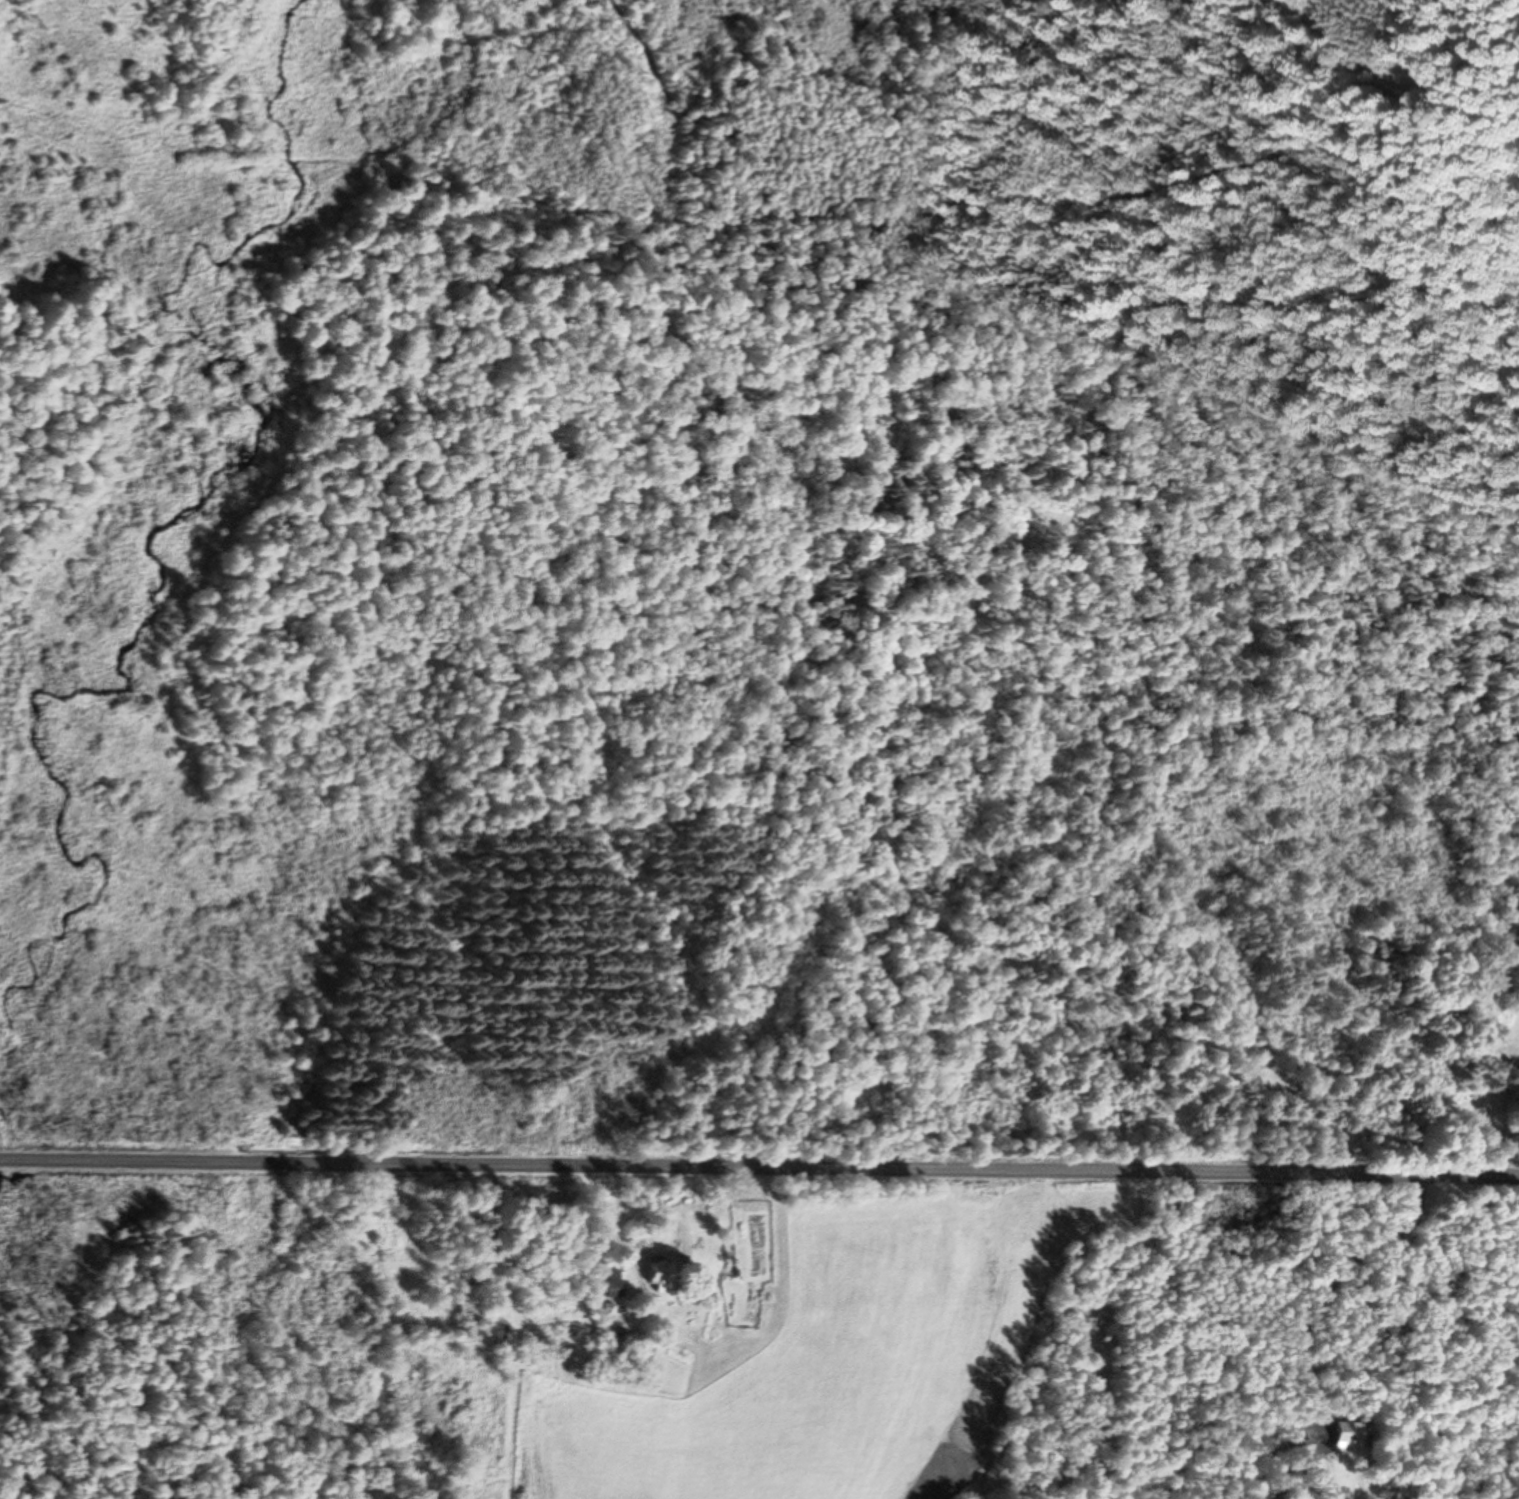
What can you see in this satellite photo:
road: (759, 1162)
building: (658, 1277)
building: (609, 1284)
building: (1342, 1436)

